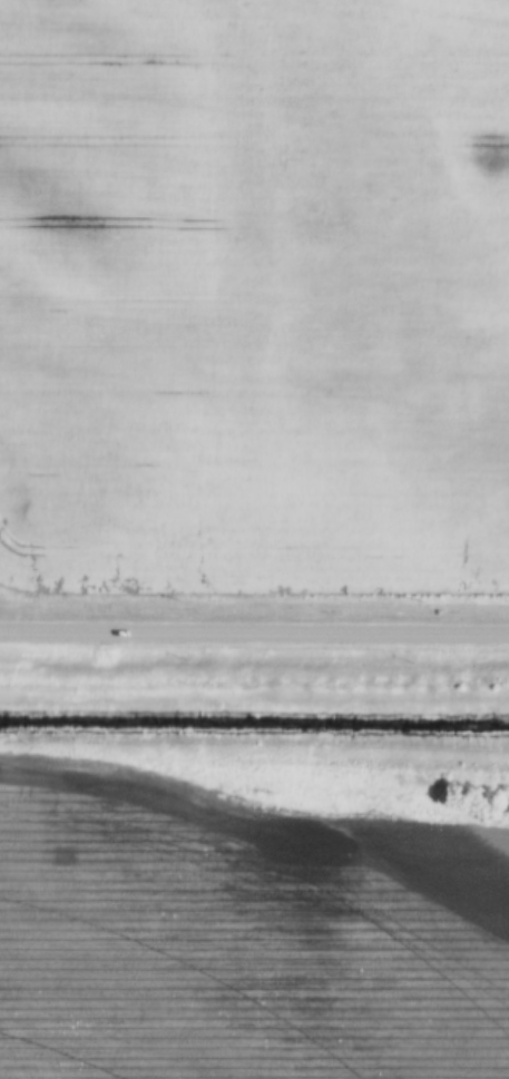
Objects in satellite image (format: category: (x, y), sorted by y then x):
road: (254, 634)

